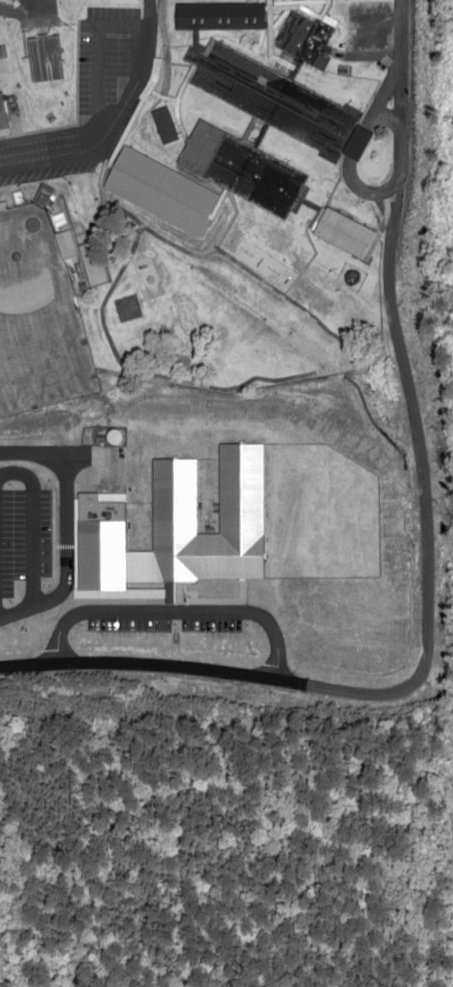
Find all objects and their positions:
road: (25, 9)
building: (217, 15)
road: (122, 26)
building: (305, 35)
building: (42, 57)
road: (95, 81)
road: (116, 118)
building: (1, 119)
building: (163, 124)
building: (235, 143)
road: (347, 166)
building: (343, 233)
building: (64, 243)
building: (92, 269)
road: (39, 451)
building: (176, 525)
road: (425, 537)

